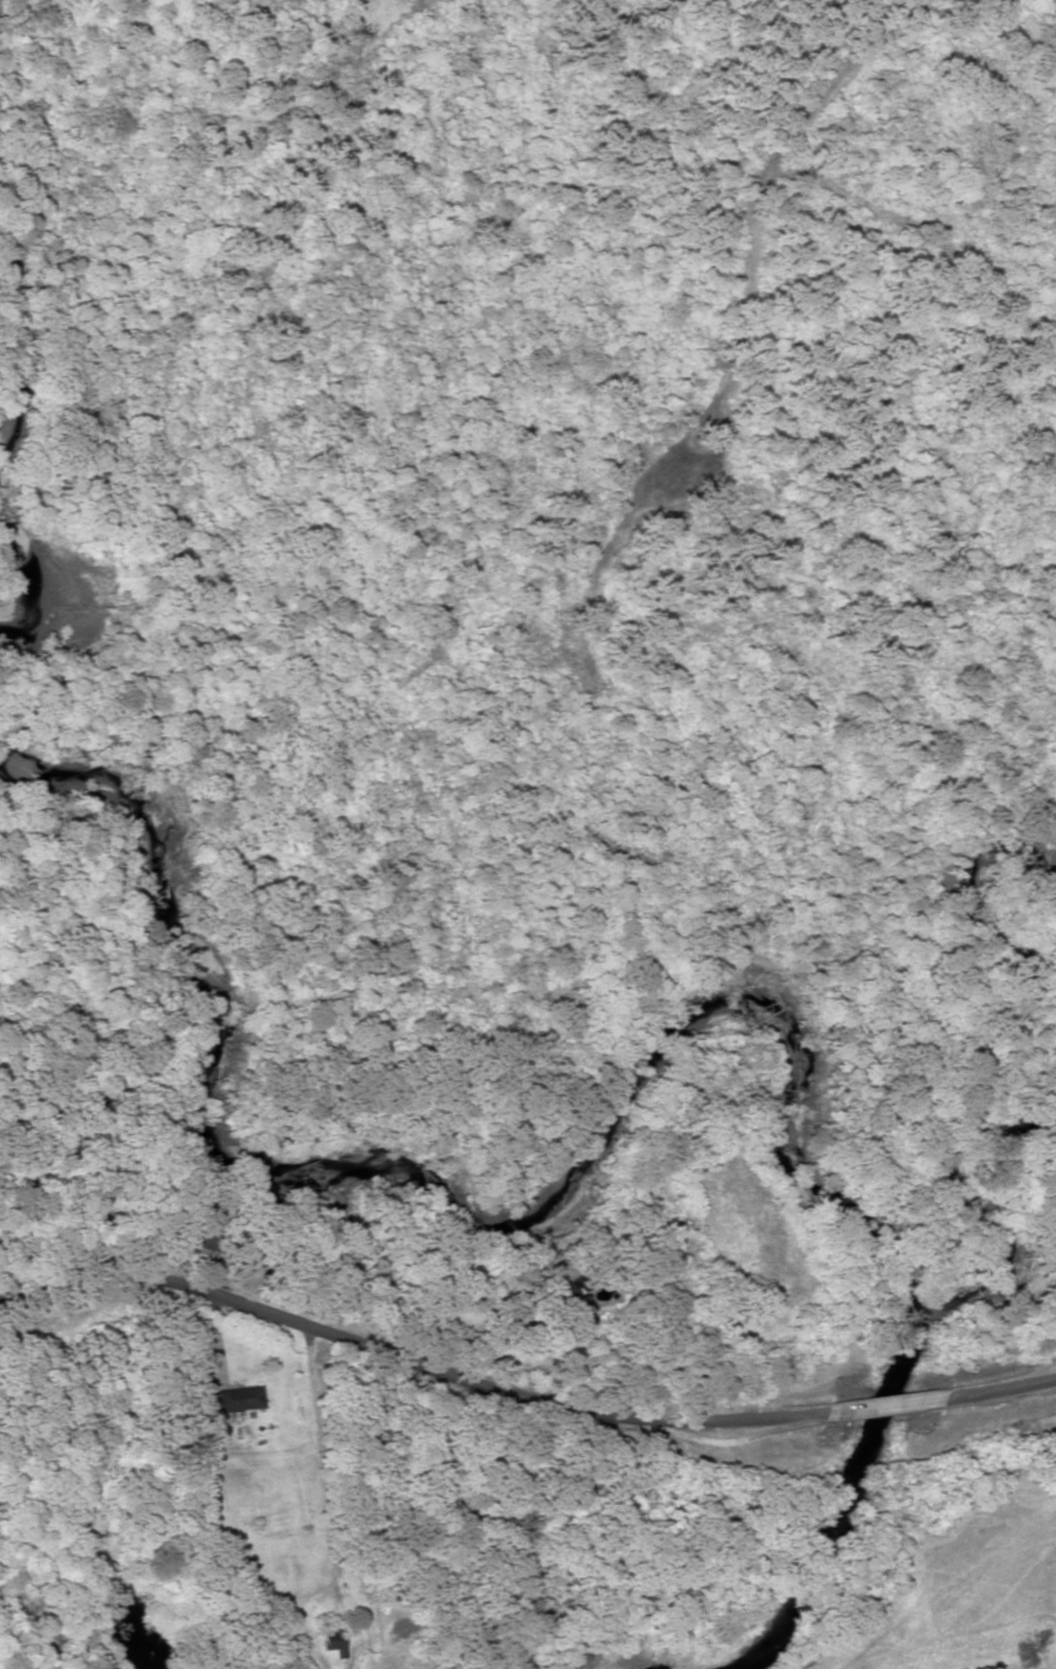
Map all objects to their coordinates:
building: (198, 1239)
building: (1028, 1295)
building: (563, 1306)
road: (519, 1378)
building: (234, 1400)
building: (326, 1643)

